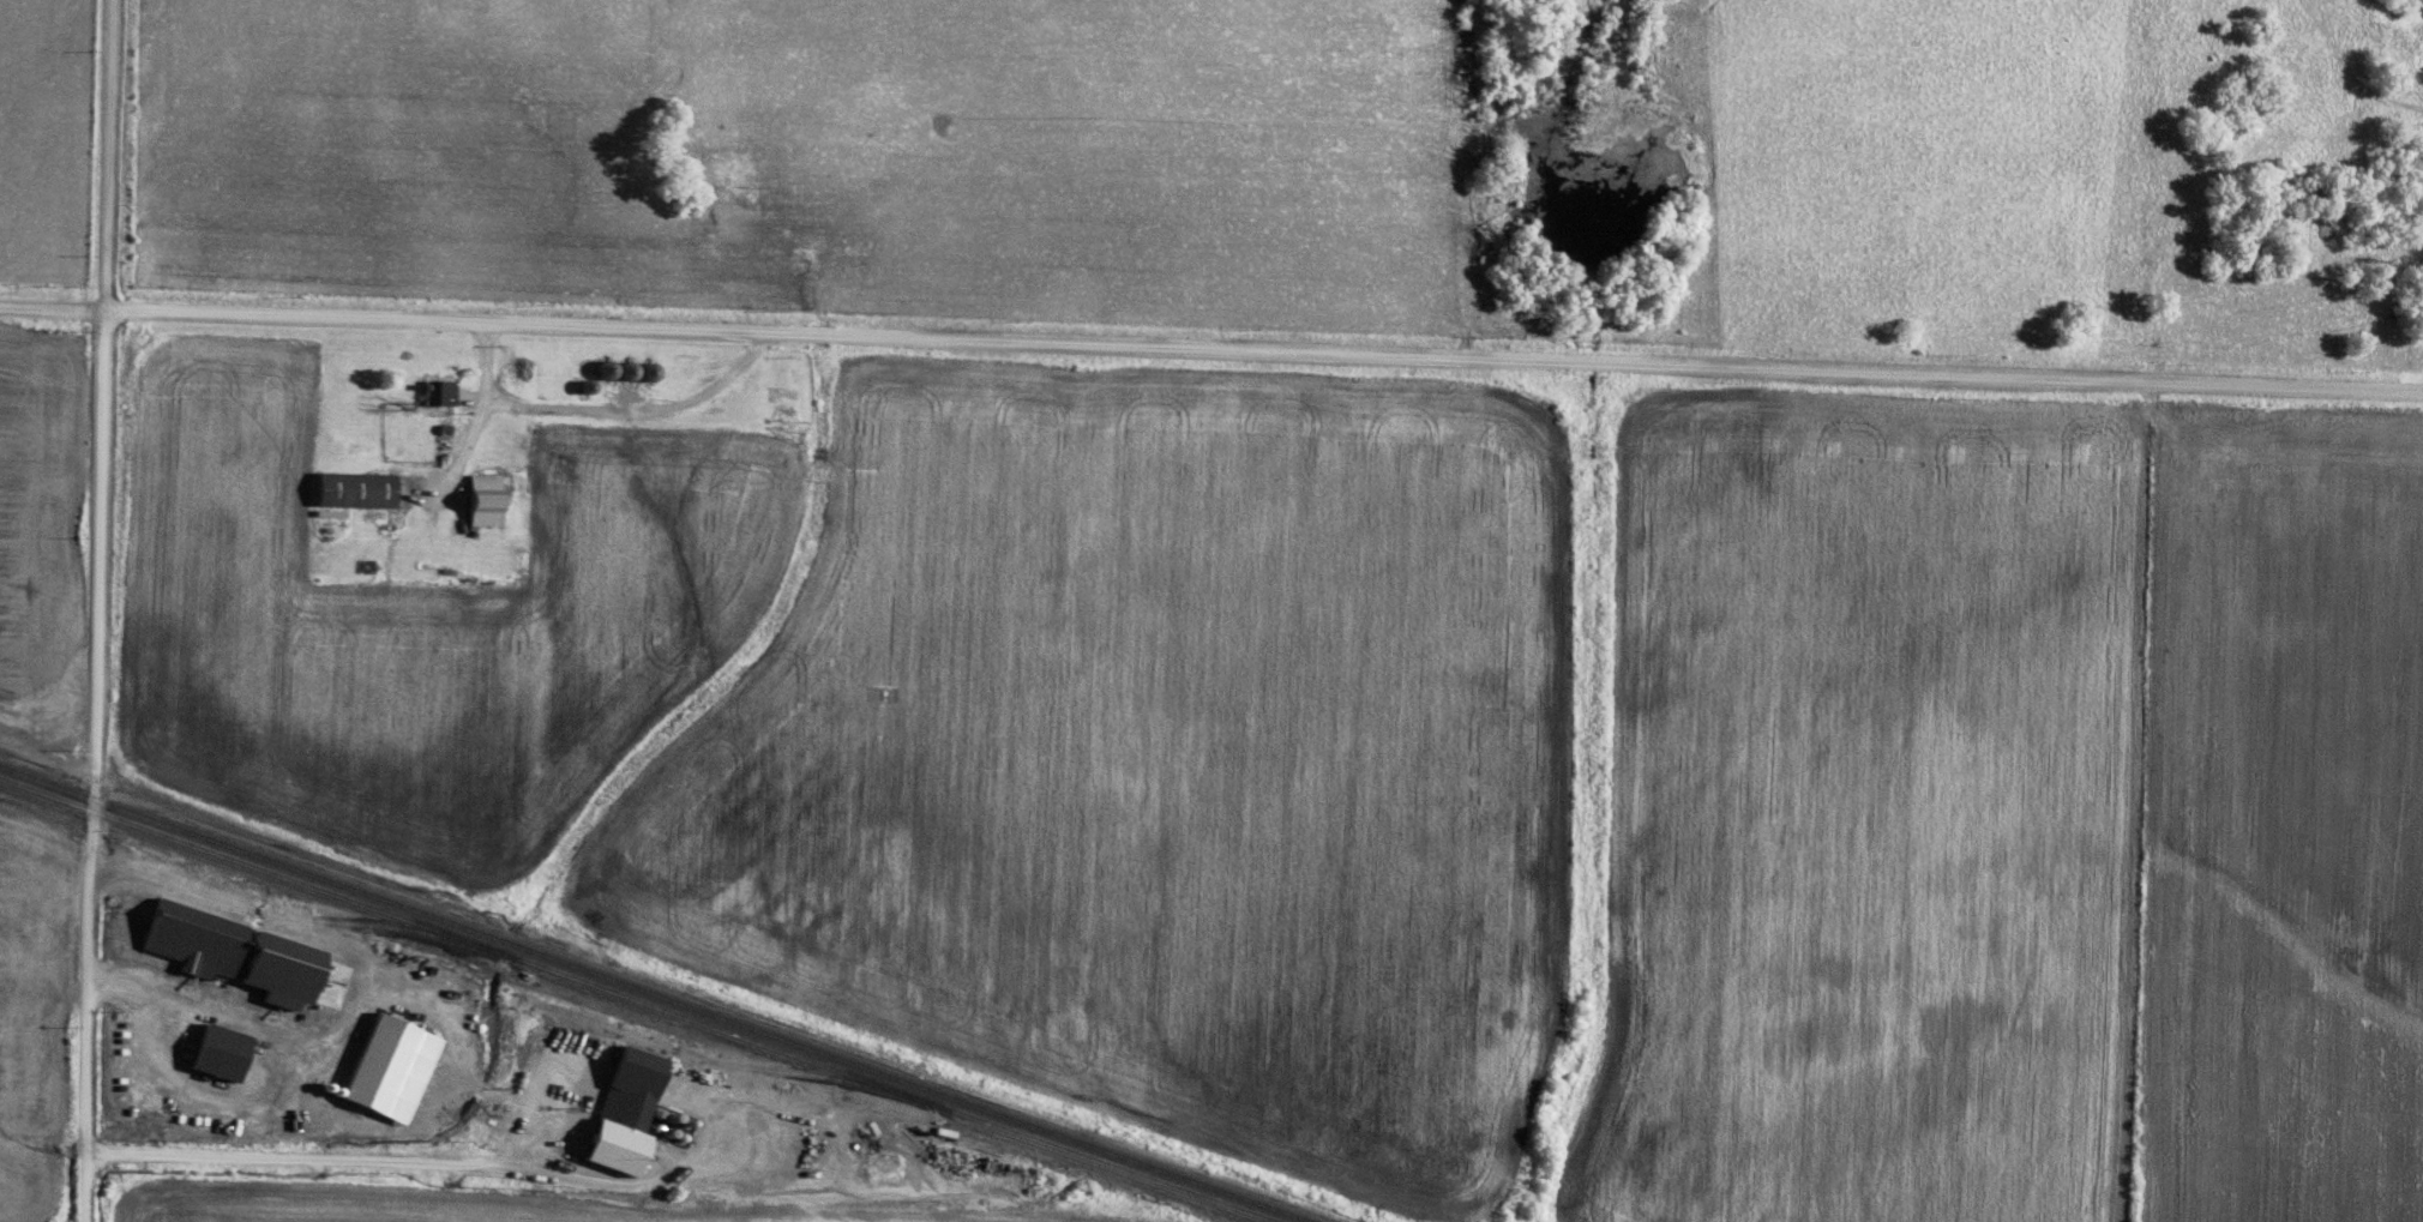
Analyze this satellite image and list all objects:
road: (1211, 349)
building: (439, 390)
road: (474, 425)
building: (356, 487)
building: (485, 498)
road: (98, 610)
building: (193, 935)
road: (257, 955)
building: (282, 967)
railway: (654, 994)
railway: (636, 1000)
building: (220, 1048)
building: (390, 1064)
building: (626, 1108)
road: (547, 1167)

